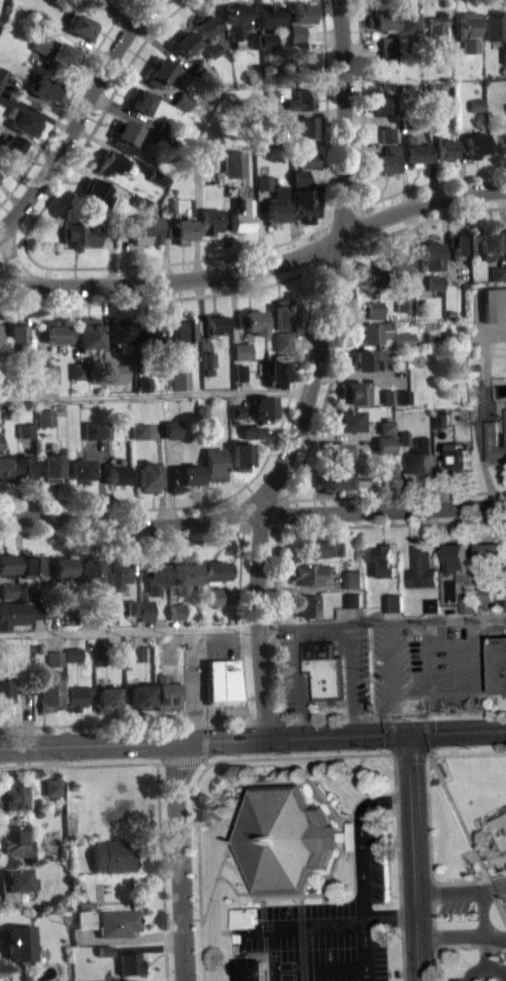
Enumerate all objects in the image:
road: (152, 1)
building: (88, 2)
building: (301, 12)
building: (268, 15)
building: (37, 16)
building: (235, 19)
building: (380, 19)
building: (405, 19)
building: (204, 23)
building: (79, 25)
building: (496, 25)
building: (439, 30)
building: (470, 31)
building: (261, 39)
building: (389, 41)
building: (184, 43)
building: (301, 46)
building: (213, 49)
building: (52, 50)
building: (389, 52)
building: (505, 54)
building: (305, 66)
building: (378, 69)
building: (158, 71)
building: (198, 73)
building: (2, 75)
building: (2, 82)
building: (43, 88)
building: (436, 95)
building: (273, 98)
building: (139, 100)
building: (182, 100)
building: (301, 100)
road: (66, 102)
building: (382, 103)
building: (478, 104)
building: (183, 107)
building: (478, 111)
road: (76, 116)
building: (21, 121)
building: (163, 126)
building: (304, 130)
building: (388, 134)
building: (124, 136)
building: (475, 144)
building: (9, 146)
building: (446, 148)
building: (415, 150)
building: (122, 152)
building: (203, 158)
building: (384, 159)
building: (305, 160)
building: (110, 162)
building: (234, 163)
building: (306, 166)
building: (155, 176)
building: (298, 176)
road: (361, 179)
building: (263, 181)
building: (95, 192)
building: (140, 202)
building: (169, 203)
building: (302, 203)
building: (276, 205)
building: (241, 216)
building: (209, 220)
building: (141, 228)
building: (108, 229)
building: (181, 229)
building: (79, 234)
building: (488, 242)
building: (461, 243)
building: (430, 254)
road: (13, 257)
road: (133, 265)
road: (259, 266)
building: (398, 266)
building: (499, 273)
building: (371, 275)
building: (498, 280)
building: (435, 282)
road: (216, 293)
building: (405, 303)
building: (375, 309)
building: (405, 311)
building: (495, 311)
building: (283, 313)
building: (252, 321)
building: (216, 322)
building: (184, 330)
building: (56, 331)
building: (371, 331)
building: (88, 332)
building: (119, 333)
building: (150, 333)
building: (15, 334)
building: (403, 339)
building: (282, 340)
building: (242, 351)
building: (208, 359)
building: (367, 359)
building: (28, 370)
building: (78, 370)
building: (275, 371)
building: (49, 372)
building: (116, 372)
building: (239, 372)
road: (316, 373)
building: (180, 379)
building: (144, 383)
building: (144, 391)
building: (354, 392)
road: (155, 396)
building: (389, 396)
building: (404, 396)
building: (263, 407)
road: (323, 407)
building: (236, 410)
building: (205, 411)
building: (45, 417)
building: (237, 417)
building: (441, 418)
building: (347, 420)
building: (505, 421)
building: (387, 427)
building: (173, 428)
building: (26, 429)
building: (106, 429)
building: (92, 430)
building: (140, 430)
building: (252, 431)
building: (387, 433)
building: (26, 436)
building: (403, 436)
building: (252, 438)
building: (1, 441)
building: (493, 443)
building: (385, 444)
road: (105, 451)
building: (339, 451)
building: (241, 455)
building: (422, 456)
building: (458, 456)
building: (215, 463)
building: (2, 466)
building: (51, 467)
building: (18, 469)
building: (83, 469)
road: (203, 470)
building: (385, 471)
road: (160, 472)
building: (119, 473)
building: (186, 475)
building: (148, 476)
building: (332, 478)
road: (100, 480)
road: (169, 481)
road: (176, 506)
road: (252, 511)
road: (294, 527)
road: (122, 541)
building: (319, 547)
road: (18, 550)
building: (490, 551)
building: (458, 557)
building: (382, 560)
road: (133, 561)
building: (7, 563)
building: (32, 563)
building: (62, 566)
building: (91, 567)
building: (422, 567)
building: (216, 569)
building: (117, 572)
building: (308, 573)
building: (154, 576)
building: (184, 577)
building: (353, 578)
building: (8, 589)
road: (300, 589)
road: (0, 590)
building: (21, 591)
building: (486, 594)
building: (7, 596)
building: (211, 596)
building: (354, 600)
building: (469, 602)
building: (394, 603)
building: (307, 605)
building: (132, 606)
building: (433, 606)
building: (100, 607)
building: (34, 609)
building: (145, 610)
road: (487, 610)
building: (54, 611)
building: (176, 611)
building: (12, 613)
building: (132, 613)
road: (353, 615)
road: (469, 615)
road: (394, 616)
building: (38, 617)
road: (434, 617)
road: (381, 622)
road: (98, 623)
road: (239, 623)
road: (55, 624)
road: (176, 624)
road: (390, 625)
road: (128, 631)
road: (322, 634)
road: (55, 641)
building: (137, 652)
building: (73, 653)
building: (99, 655)
building: (55, 657)
parking lot: (292, 658)
building: (73, 661)
building: (55, 664)
building: (498, 664)
parking lot: (450, 665)
parking lot: (391, 668)
building: (325, 669)
building: (223, 681)
road: (391, 683)
building: (26, 686)
road: (459, 687)
building: (50, 689)
building: (164, 690)
building: (4, 695)
building: (140, 695)
building: (78, 696)
building: (108, 696)
road: (488, 710)
road: (373, 713)
road: (425, 716)
road: (392, 717)
road: (263, 718)
road: (124, 722)
road: (204, 723)
road: (457, 732)
traffic signals: (409, 733)
road: (427, 733)
road: (391, 735)
road: (204, 739)
road: (390, 751)
road: (478, 753)
road: (409, 755)
road: (437, 755)
road: (200, 758)
road: (208, 761)
road: (427, 762)
road: (82, 764)
road: (200, 779)
building: (52, 786)
road: (245, 794)
building: (12, 795)
road: (360, 798)
road: (326, 803)
road: (457, 817)
road: (349, 823)
road: (413, 836)
building: (14, 839)
building: (287, 839)
road: (153, 844)
road: (341, 851)
building: (111, 855)
road: (181, 861)
road: (431, 866)
road: (353, 867)
road: (361, 868)
road: (398, 868)
road: (161, 871)
building: (14, 882)
road: (233, 887)
road: (461, 890)
road: (286, 896)
road: (323, 899)
road: (496, 899)
road: (301, 900)
road: (263, 901)
building: (84, 903)
road: (432, 910)
road: (482, 915)
road: (390, 916)
building: (83, 918)
building: (116, 922)
parking lot: (326, 923)
road: (298, 924)
road: (127, 938)
road: (450, 938)
road: (495, 938)
building: (18, 943)
road: (465, 945)
road: (148, 947)
building: (103, 950)
road: (267, 955)
road: (241, 956)
road: (416, 960)
building: (128, 963)
road: (434, 964)
road: (485, 965)
road: (228, 969)
building: (251, 969)
road: (324, 970)
road: (497, 971)
parking lot: (476, 972)
building: (129, 980)
road: (232, 980)

